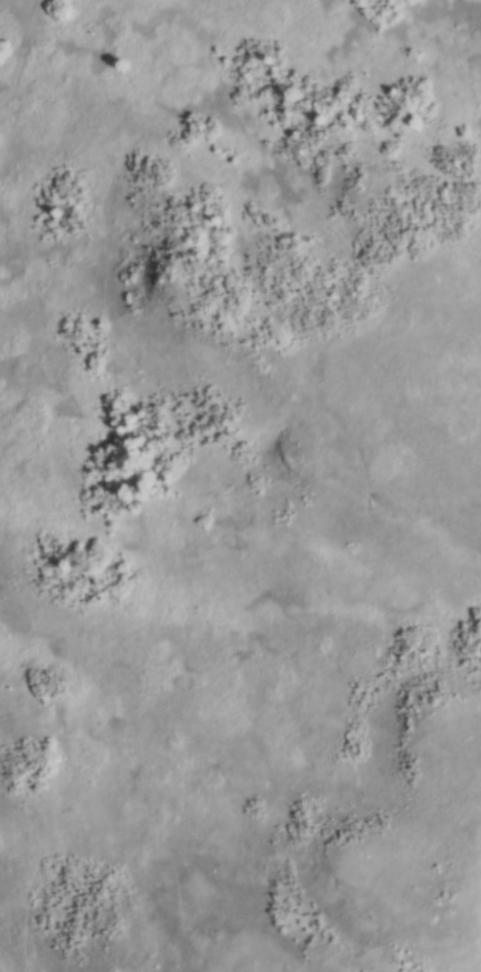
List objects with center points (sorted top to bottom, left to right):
road: (22, 40)

